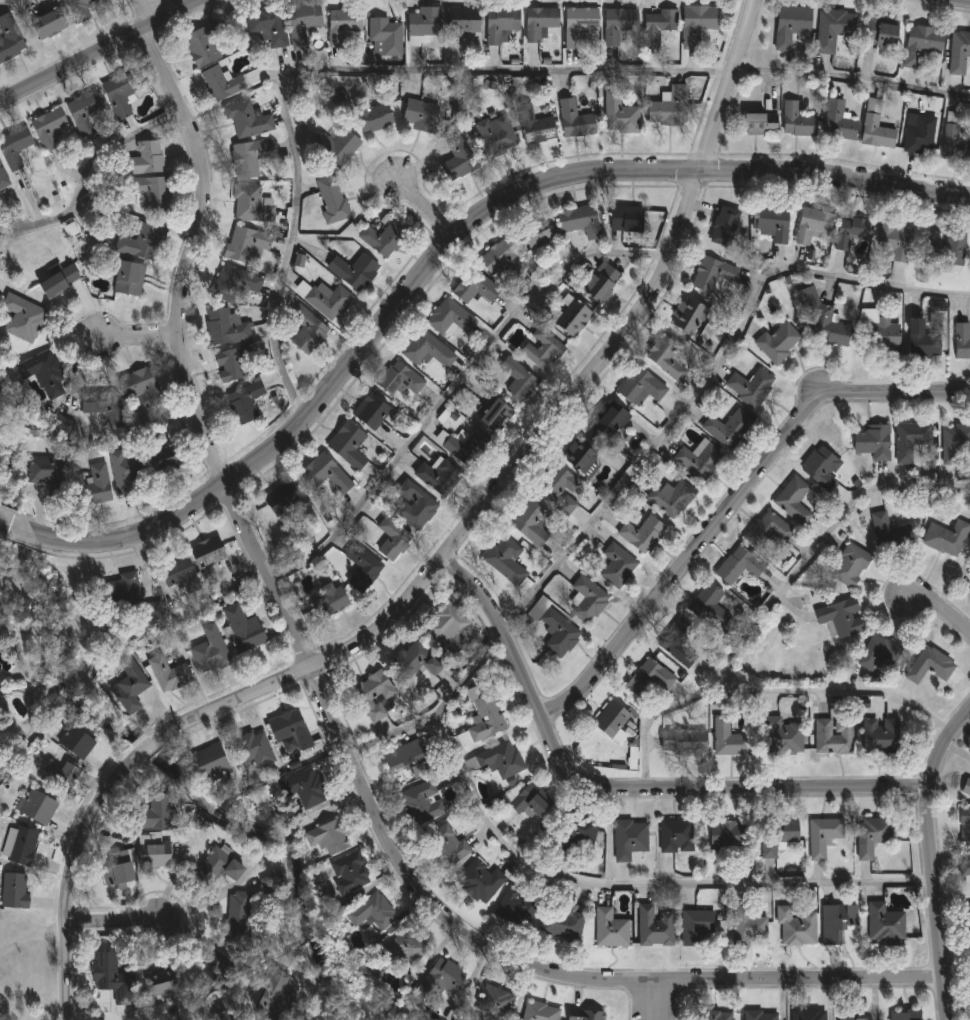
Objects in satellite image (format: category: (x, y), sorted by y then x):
road: (3, 0)
road: (954, 1)
road: (160, 8)
building: (82, 9)
building: (306, 20)
building: (467, 22)
building: (50, 23)
building: (504, 23)
building: (543, 23)
building: (270, 24)
building: (346, 24)
building: (616, 25)
building: (695, 25)
building: (789, 25)
building: (580, 26)
building: (656, 29)
building: (831, 29)
building: (428, 31)
building: (389, 35)
building: (878, 35)
building: (11, 39)
building: (207, 43)
building: (920, 45)
road: (101, 50)
building: (958, 52)
road: (452, 69)
building: (224, 83)
road: (736, 87)
building: (122, 94)
building: (666, 106)
building: (87, 112)
building: (374, 115)
building: (424, 115)
building: (618, 115)
building: (249, 120)
building: (572, 120)
building: (795, 121)
building: (836, 121)
building: (757, 123)
building: (537, 124)
building: (51, 128)
building: (874, 128)
building: (498, 133)
building: (917, 133)
building: (953, 136)
building: (339, 145)
building: (21, 148)
building: (253, 157)
building: (147, 159)
building: (461, 159)
building: (4, 177)
building: (152, 192)
building: (335, 201)
building: (254, 203)
road: (424, 205)
building: (624, 217)
building: (579, 220)
building: (770, 220)
building: (810, 224)
building: (722, 225)
building: (849, 231)
building: (538, 236)
building: (385, 239)
building: (143, 241)
building: (893, 241)
building: (249, 243)
building: (944, 250)
road: (189, 255)
building: (504, 258)
building: (299, 260)
road: (439, 261)
building: (357, 271)
building: (712, 274)
building: (131, 277)
building: (62, 280)
building: (597, 281)
building: (236, 283)
building: (478, 286)
building: (328, 298)
building: (568, 315)
building: (687, 315)
building: (25, 316)
building: (821, 317)
building: (452, 318)
building: (228, 327)
building: (311, 330)
building: (876, 332)
road: (137, 336)
building: (920, 339)
building: (775, 340)
building: (961, 340)
building: (543, 347)
building: (430, 349)
building: (665, 358)
building: (236, 364)
building: (47, 372)
building: (402, 378)
road: (707, 379)
building: (526, 384)
building: (144, 385)
building: (639, 385)
building: (749, 386)
building: (465, 399)
building: (247, 402)
building: (108, 408)
building: (376, 411)
building: (500, 414)
building: (63, 427)
building: (727, 428)
building: (593, 438)
building: (909, 439)
building: (872, 441)
building: (954, 441)
building: (351, 444)
building: (466, 445)
building: (171, 457)
building: (697, 458)
building: (820, 468)
building: (125, 472)
building: (50, 474)
building: (442, 475)
building: (328, 476)
building: (98, 485)
building: (557, 488)
building: (670, 497)
building: (285, 499)
building: (792, 500)
building: (418, 505)
road: (731, 506)
building: (529, 521)
building: (766, 530)
building: (888, 532)
building: (640, 533)
building: (944, 537)
building: (395, 538)
building: (211, 553)
building: (1, 562)
building: (506, 562)
building: (615, 564)
building: (849, 564)
building: (366, 565)
building: (736, 565)
building: (2, 568)
building: (182, 575)
building: (125, 593)
building: (969, 597)
building: (585, 599)
road: (774, 599)
building: (333, 601)
building: (707, 604)
road: (940, 612)
building: (838, 617)
building: (451, 620)
building: (554, 626)
building: (246, 630)
road: (386, 630)
building: (677, 642)
building: (213, 650)
building: (878, 653)
building: (411, 661)
building: (928, 665)
building: (172, 674)
road: (466, 676)
building: (646, 678)
building: (132, 685)
road: (838, 690)
building: (378, 694)
building: (609, 721)
building: (487, 722)
building: (292, 728)
building: (781, 736)
building: (832, 736)
building: (879, 736)
building: (728, 738)
building: (78, 741)
building: (681, 741)
building: (257, 749)
building: (411, 759)
building: (213, 761)
building: (501, 762)
building: (63, 777)
building: (965, 786)
building: (307, 788)
road: (624, 788)
building: (424, 803)
building: (37, 805)
building: (533, 805)
building: (158, 812)
building: (964, 823)
building: (582, 830)
building: (674, 835)
building: (822, 835)
building: (871, 835)
building: (725, 836)
building: (775, 836)
building: (329, 840)
building: (630, 840)
building: (21, 845)
building: (447, 846)
building: (156, 850)
road: (932, 860)
building: (222, 866)
building: (964, 867)
building: (121, 868)
building: (353, 872)
building: (273, 880)
building: (482, 882)
road: (597, 885)
building: (16, 891)
building: (518, 907)
building: (376, 915)
building: (239, 918)
building: (837, 920)
road: (116, 923)
building: (565, 923)
building: (747, 924)
building: (794, 924)
building: (883, 925)
building: (693, 926)
building: (966, 926)
building: (656, 927)
building: (613, 928)
road: (455, 929)
building: (408, 948)
building: (212, 969)
building: (115, 979)
building: (444, 979)
building: (167, 982)
building: (279, 996)
building: (496, 1000)
road: (655, 1001)
building: (542, 1011)
building: (842, 1012)
building: (759, 1014)
building: (230, 1015)
building: (587, 1015)
building: (806, 1015)
building: (905, 1015)
building: (714, 1016)

